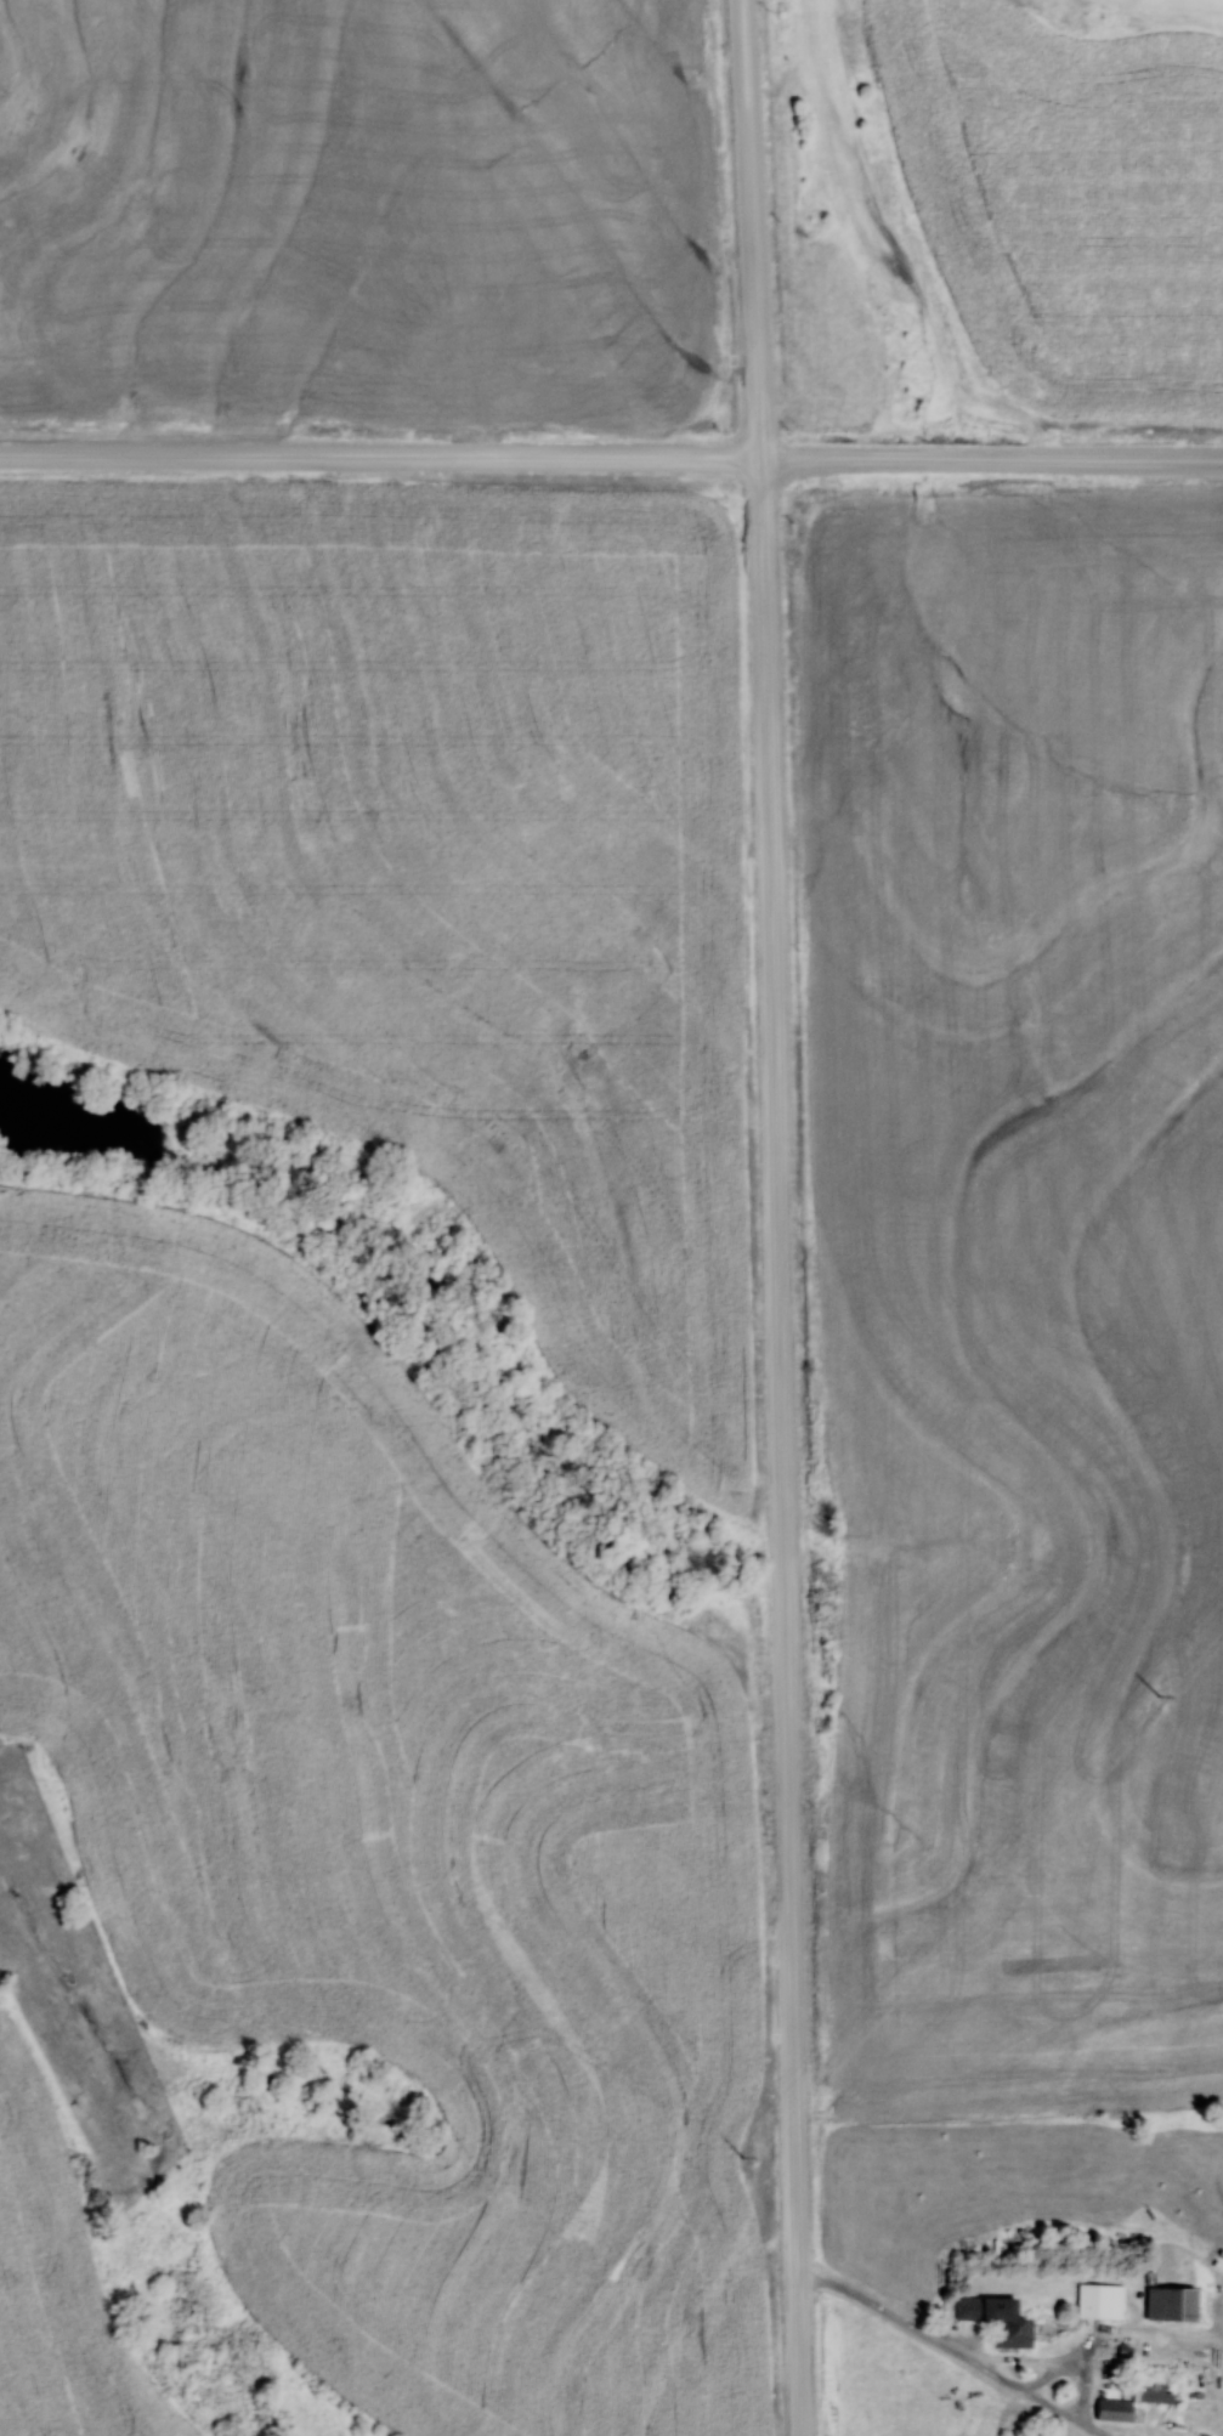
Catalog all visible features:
road: (383, 453)
road: (993, 455)
road: (777, 1217)
power tower: (1161, 1690)
power tower: (755, 2138)
building: (1102, 2301)
building: (996, 2318)
building: (1155, 2396)
building: (1111, 2409)

